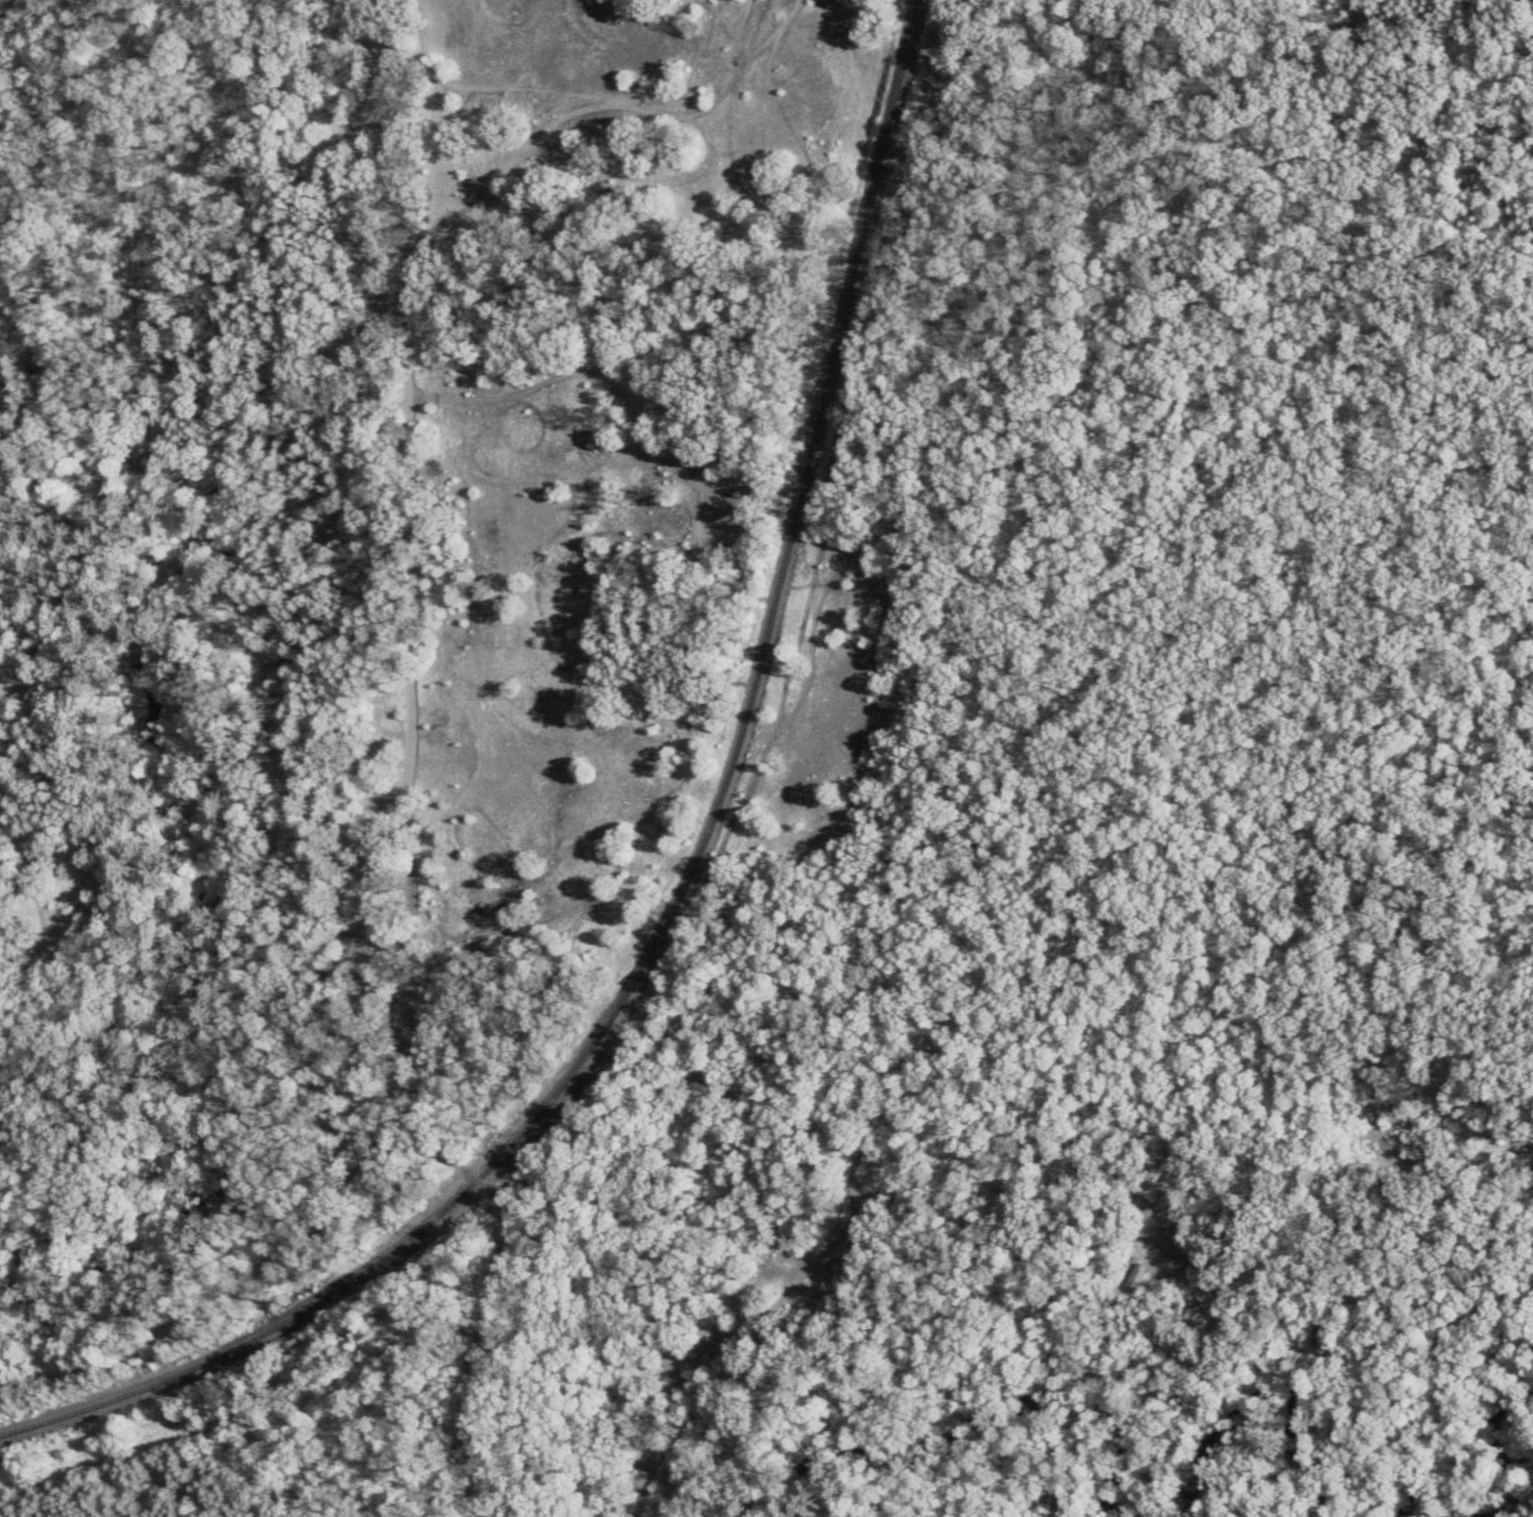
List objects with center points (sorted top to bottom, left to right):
road: (410, 806)
railway: (686, 883)
road: (49, 1016)
road: (884, 1201)
road: (502, 1234)
building: (1136, 1278)

